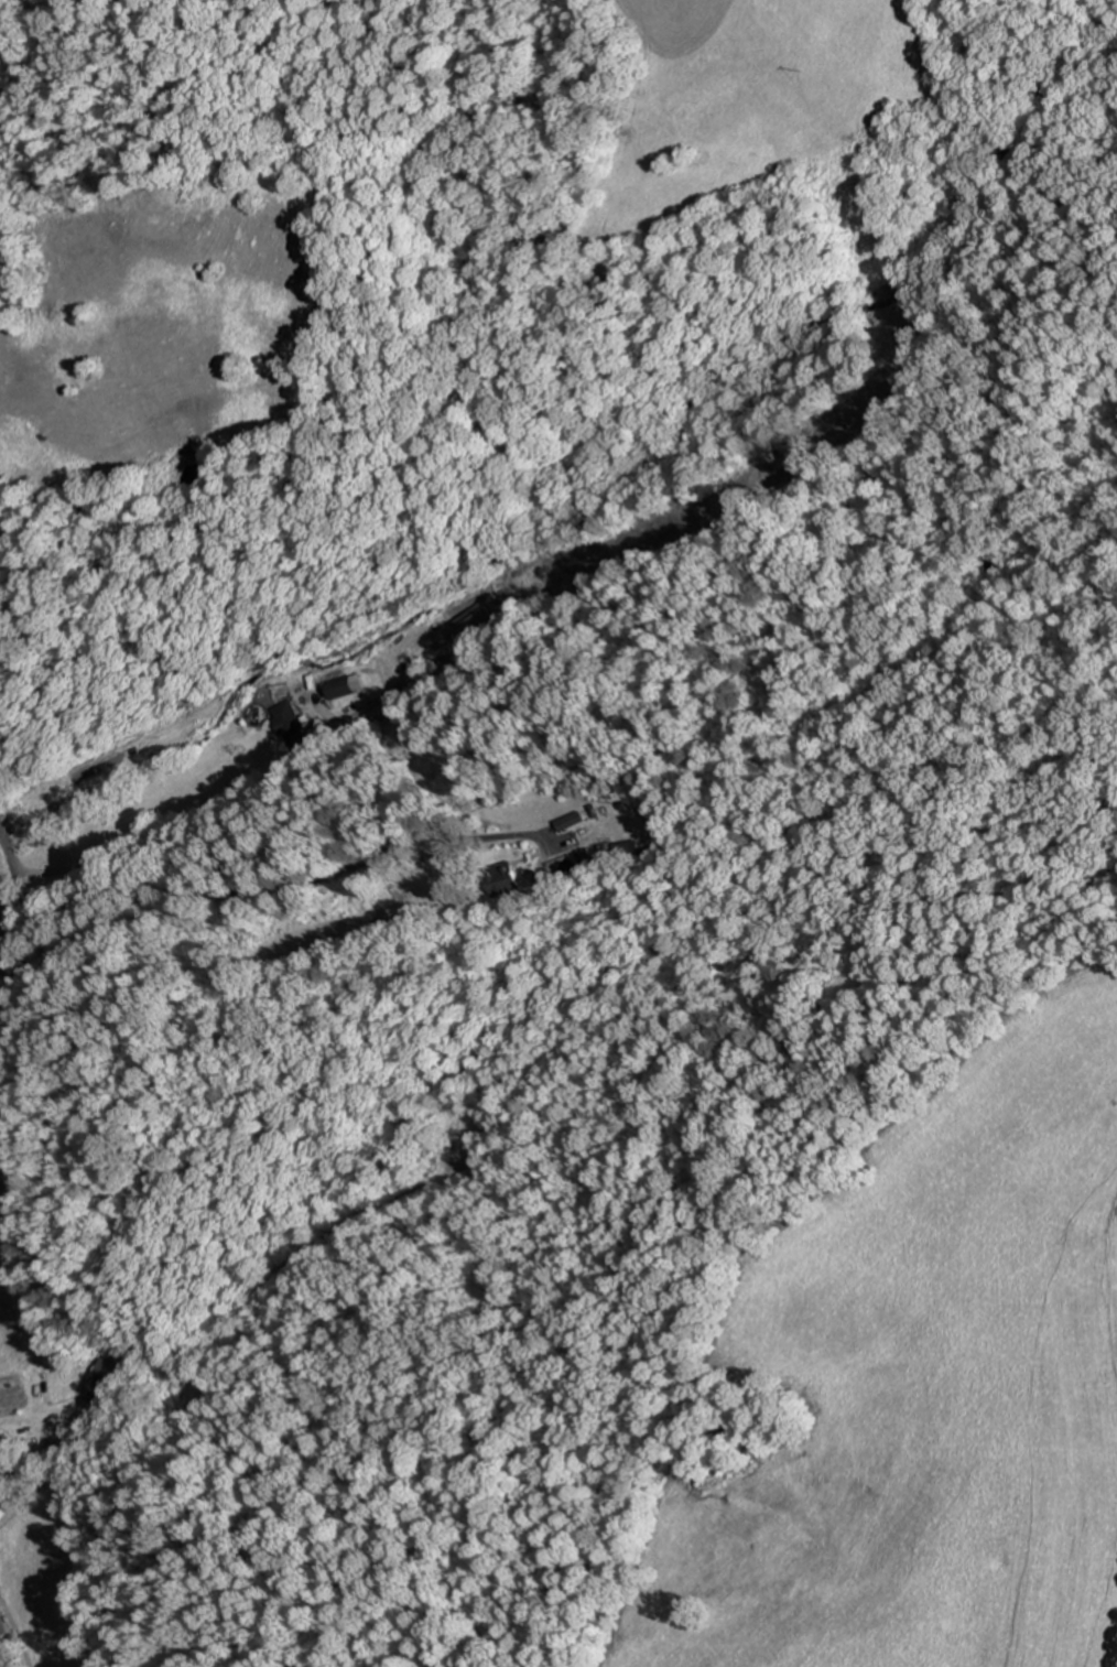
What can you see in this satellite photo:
road: (409, 618)
building: (479, 627)
building: (345, 685)
building: (292, 725)
building: (572, 821)
building: (626, 852)
building: (503, 879)
road: (19, 917)
building: (107, 1378)
road: (4, 1648)

